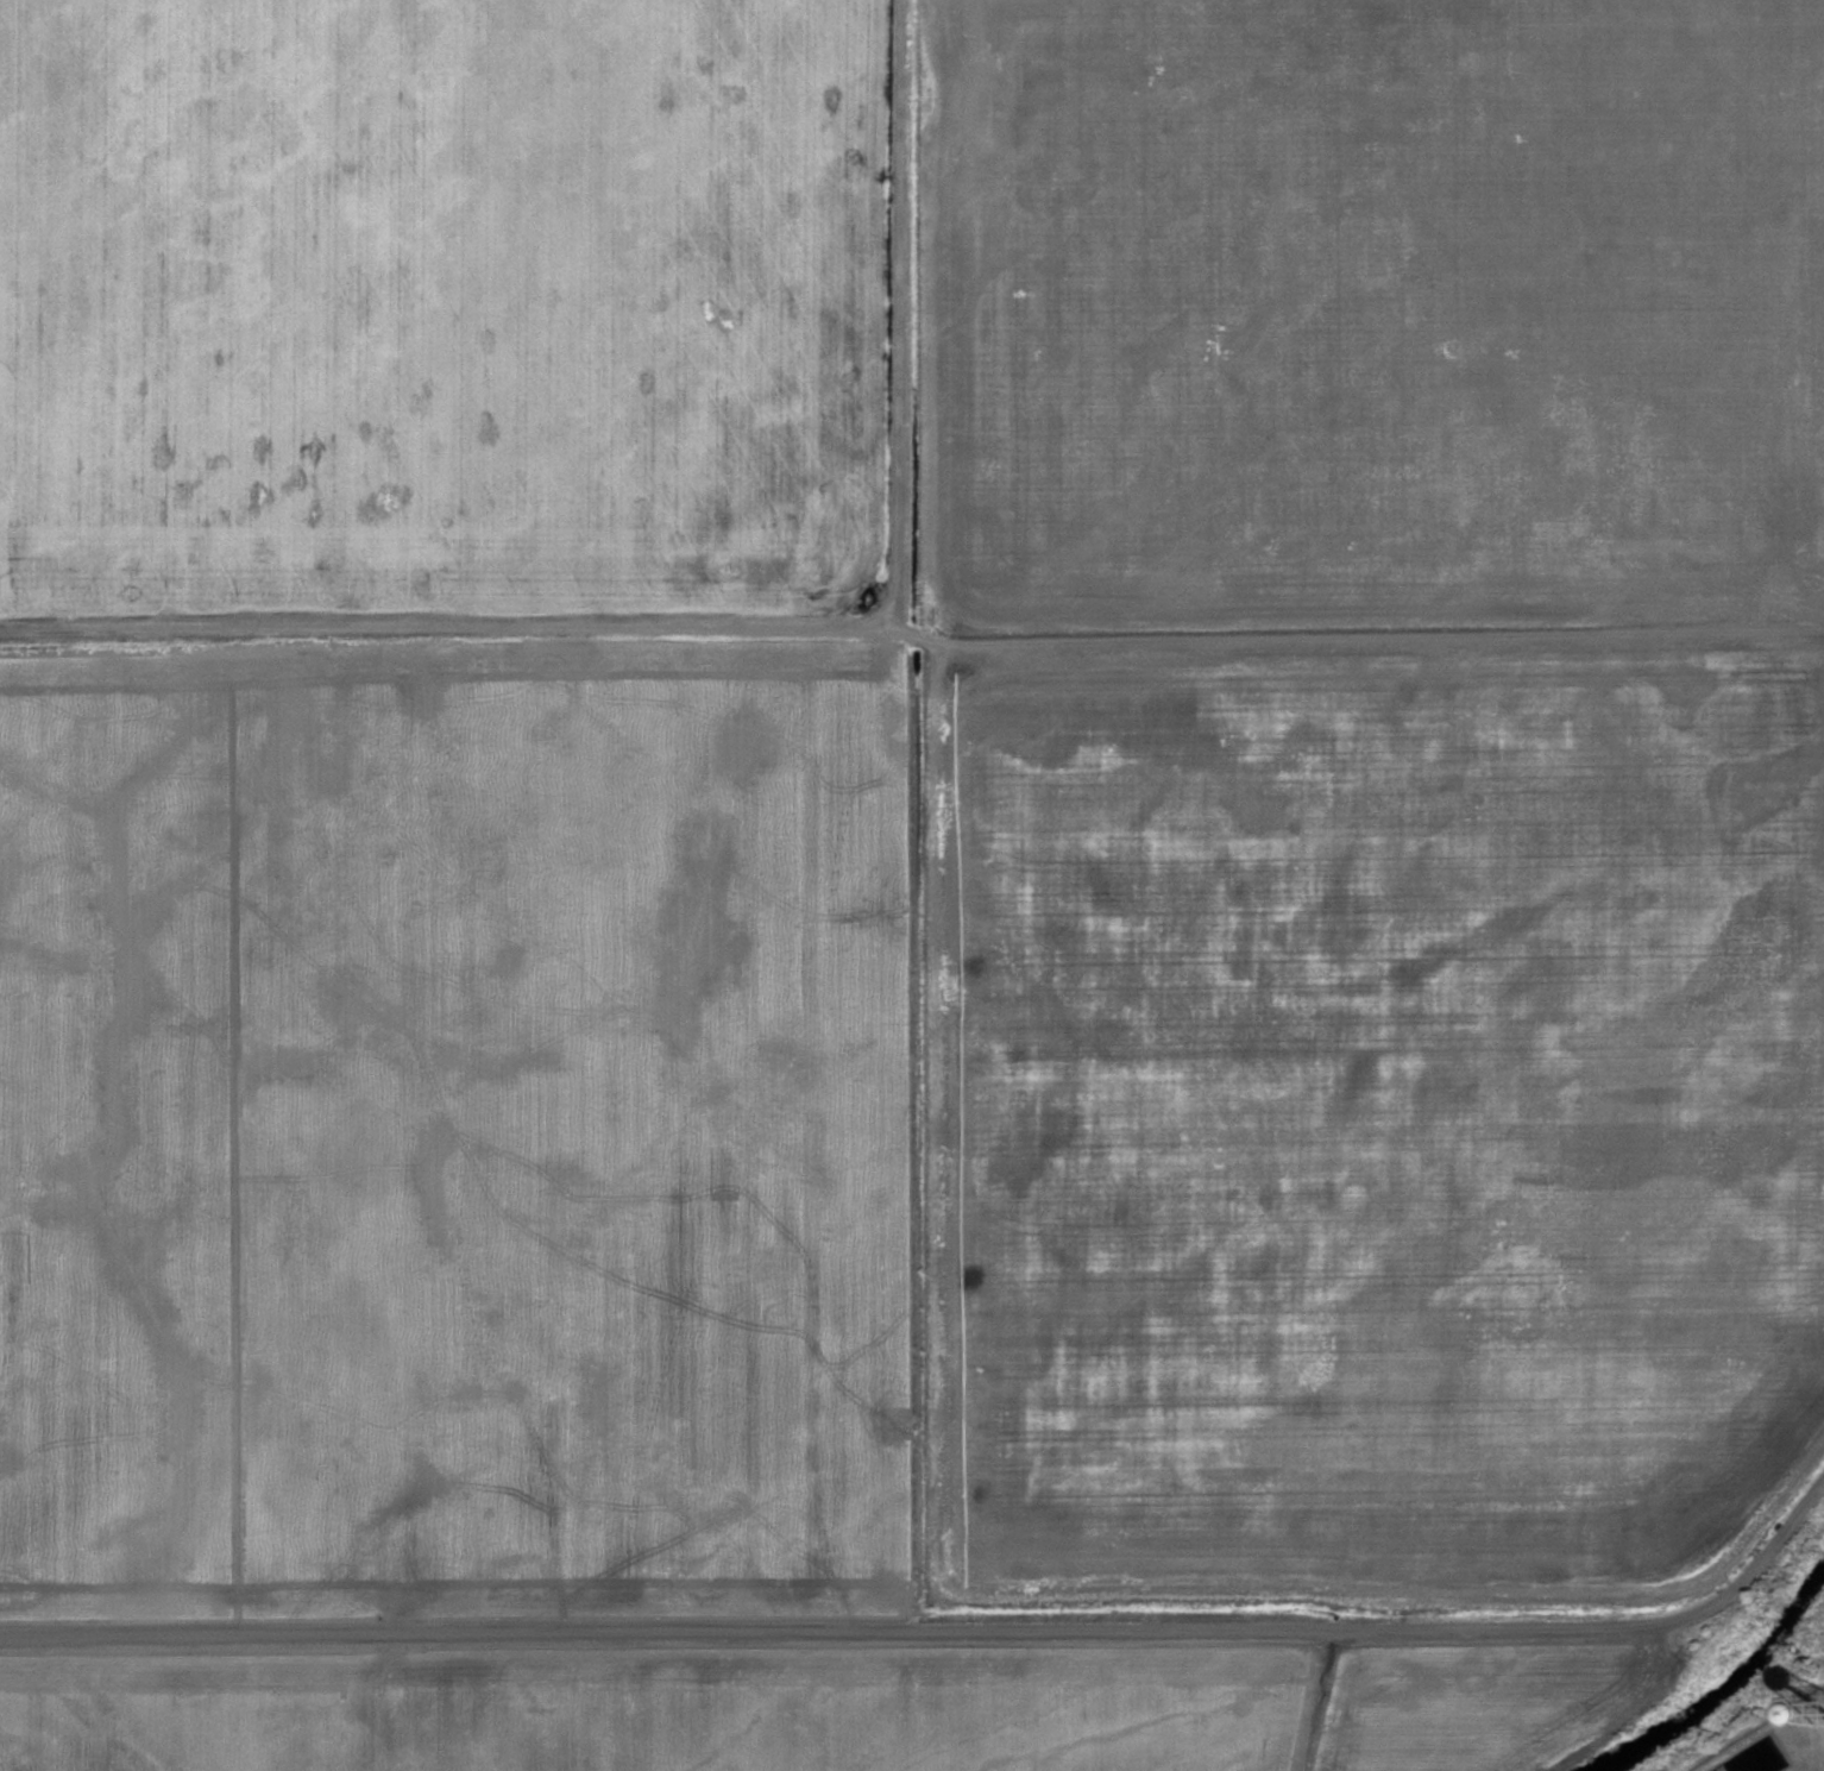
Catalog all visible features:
road: (942, 1631)

